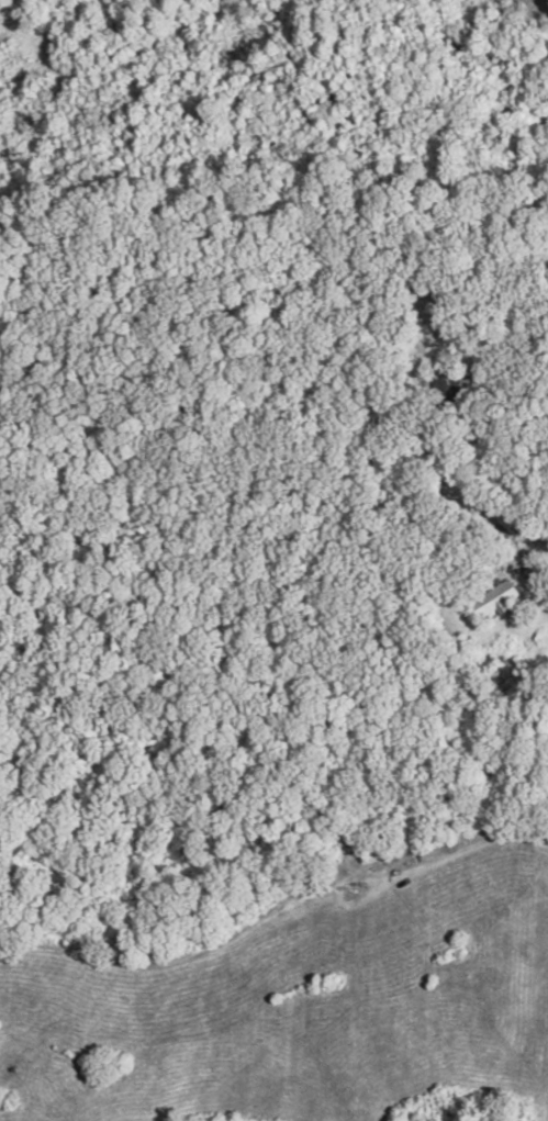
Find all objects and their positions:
road: (537, 579)
building: (499, 598)

